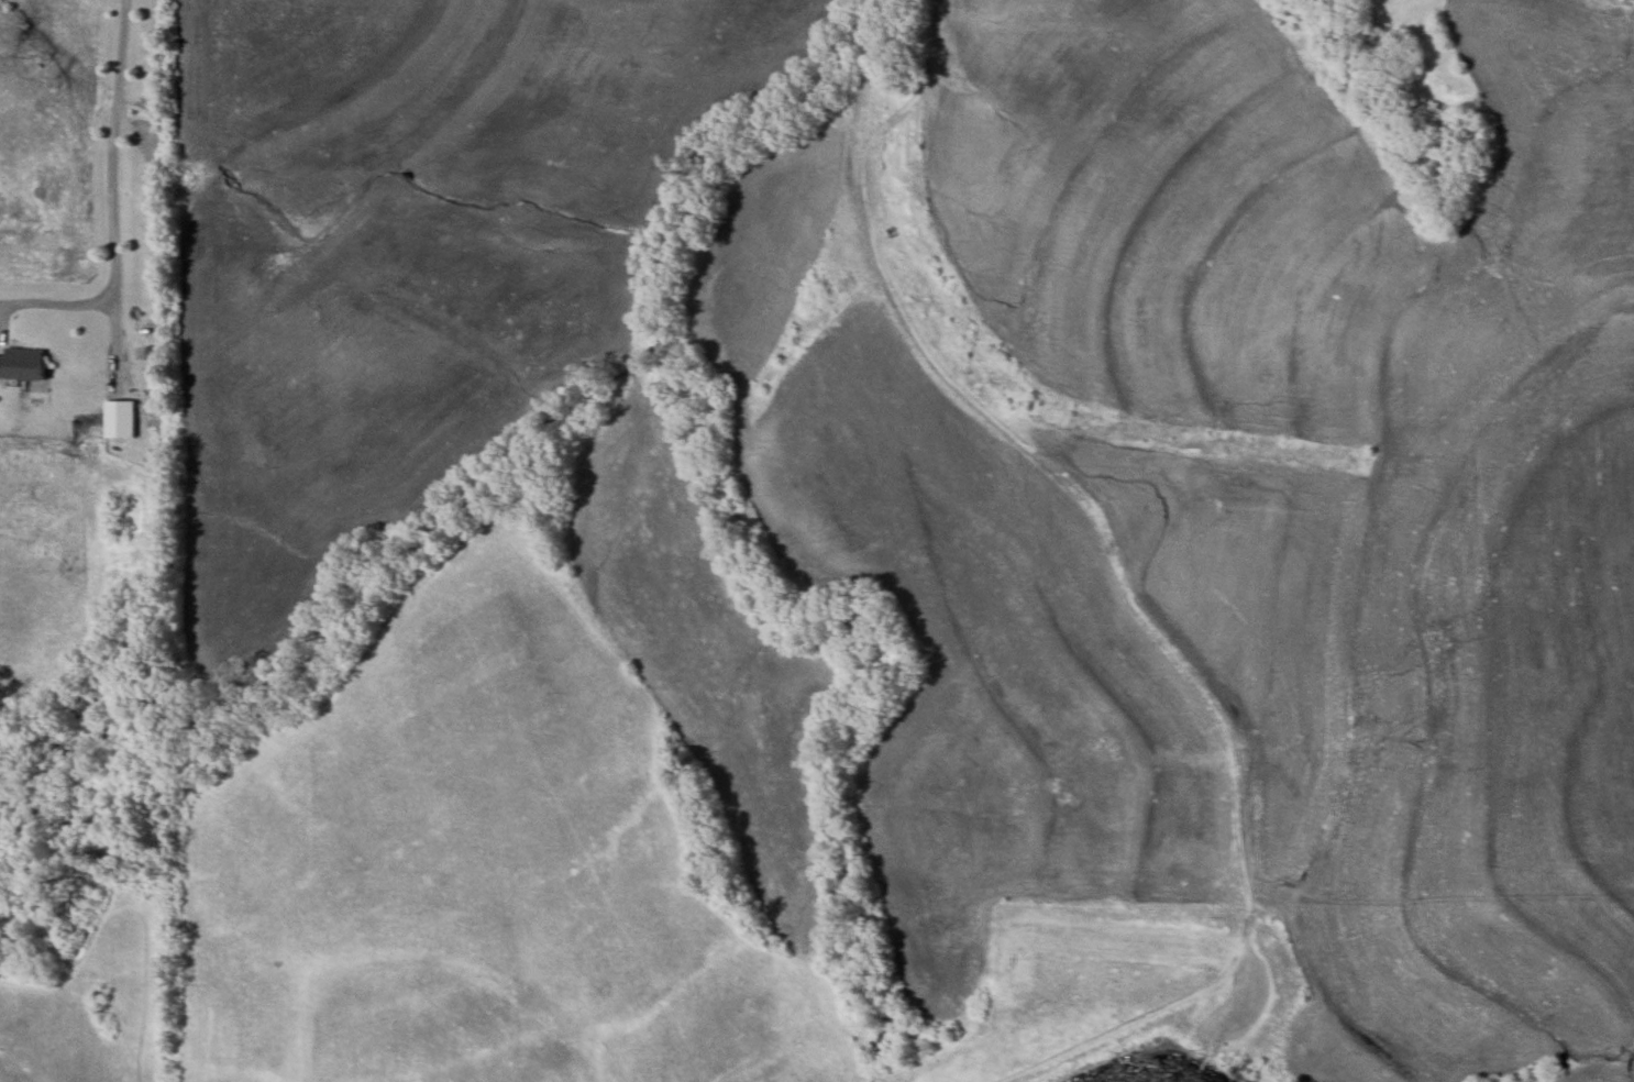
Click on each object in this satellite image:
road: (115, 202)
building: (20, 363)
building: (115, 419)

